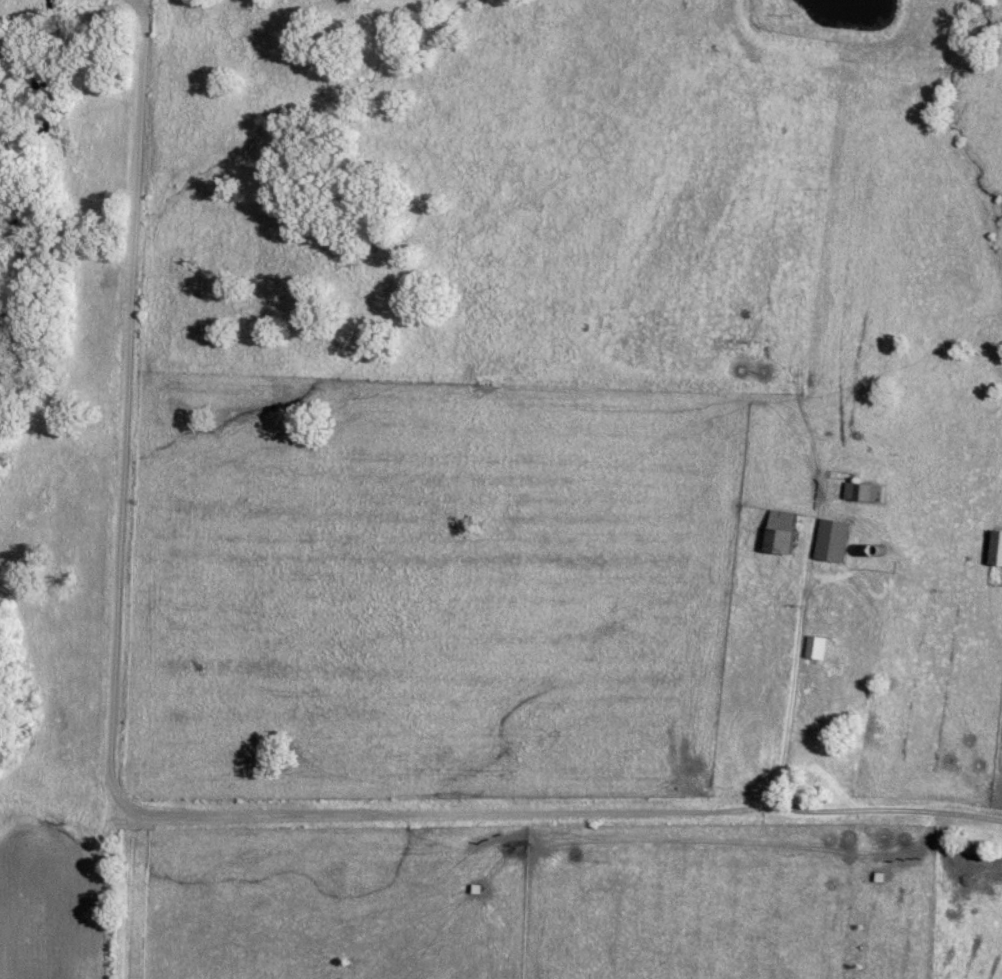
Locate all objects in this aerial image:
building: (867, 493)
building: (786, 533)
building: (837, 542)
building: (998, 549)
building: (820, 650)
road: (897, 804)
road: (159, 818)

